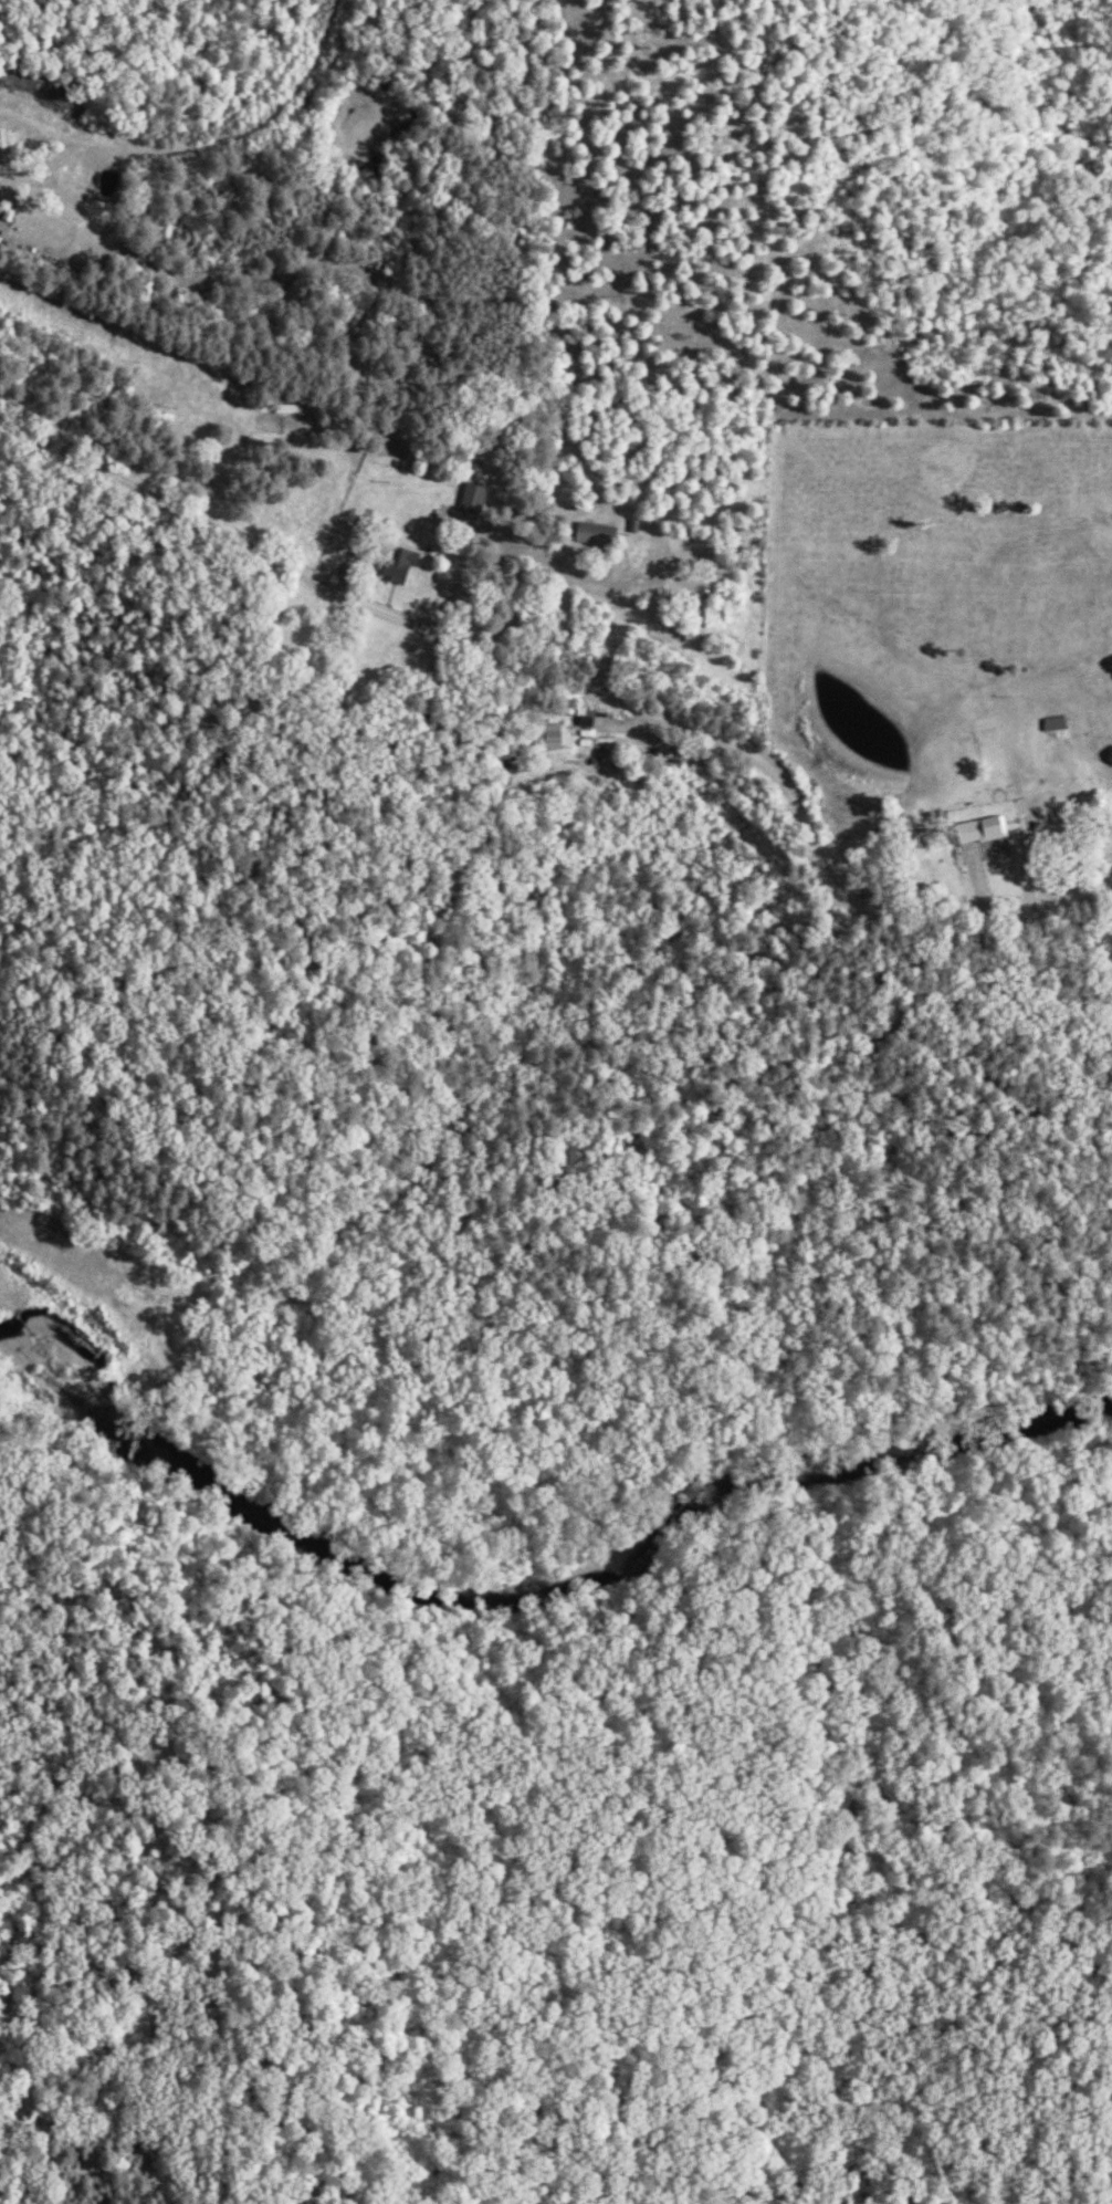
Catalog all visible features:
building: (480, 499)
building: (608, 534)
road: (573, 692)
building: (994, 825)

